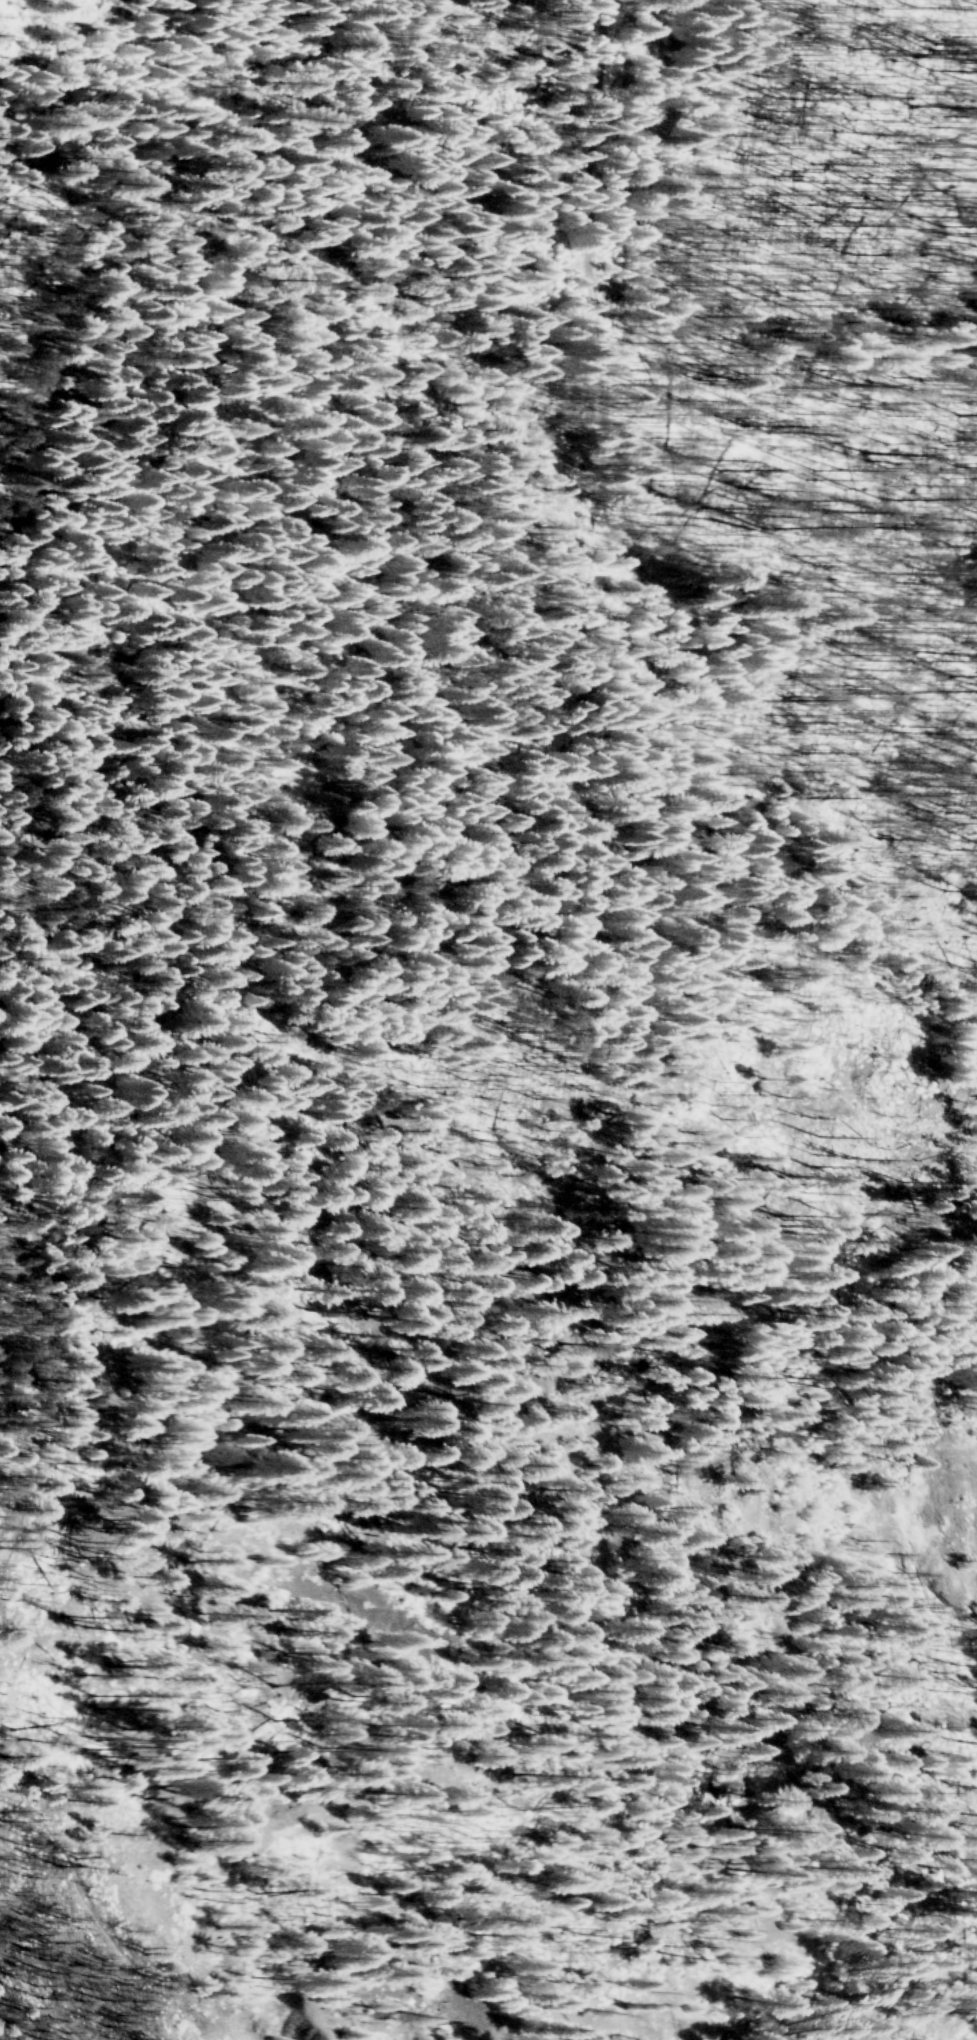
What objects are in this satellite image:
road: (589, 167)
road: (157, 383)
road: (72, 1294)
road: (126, 1965)

